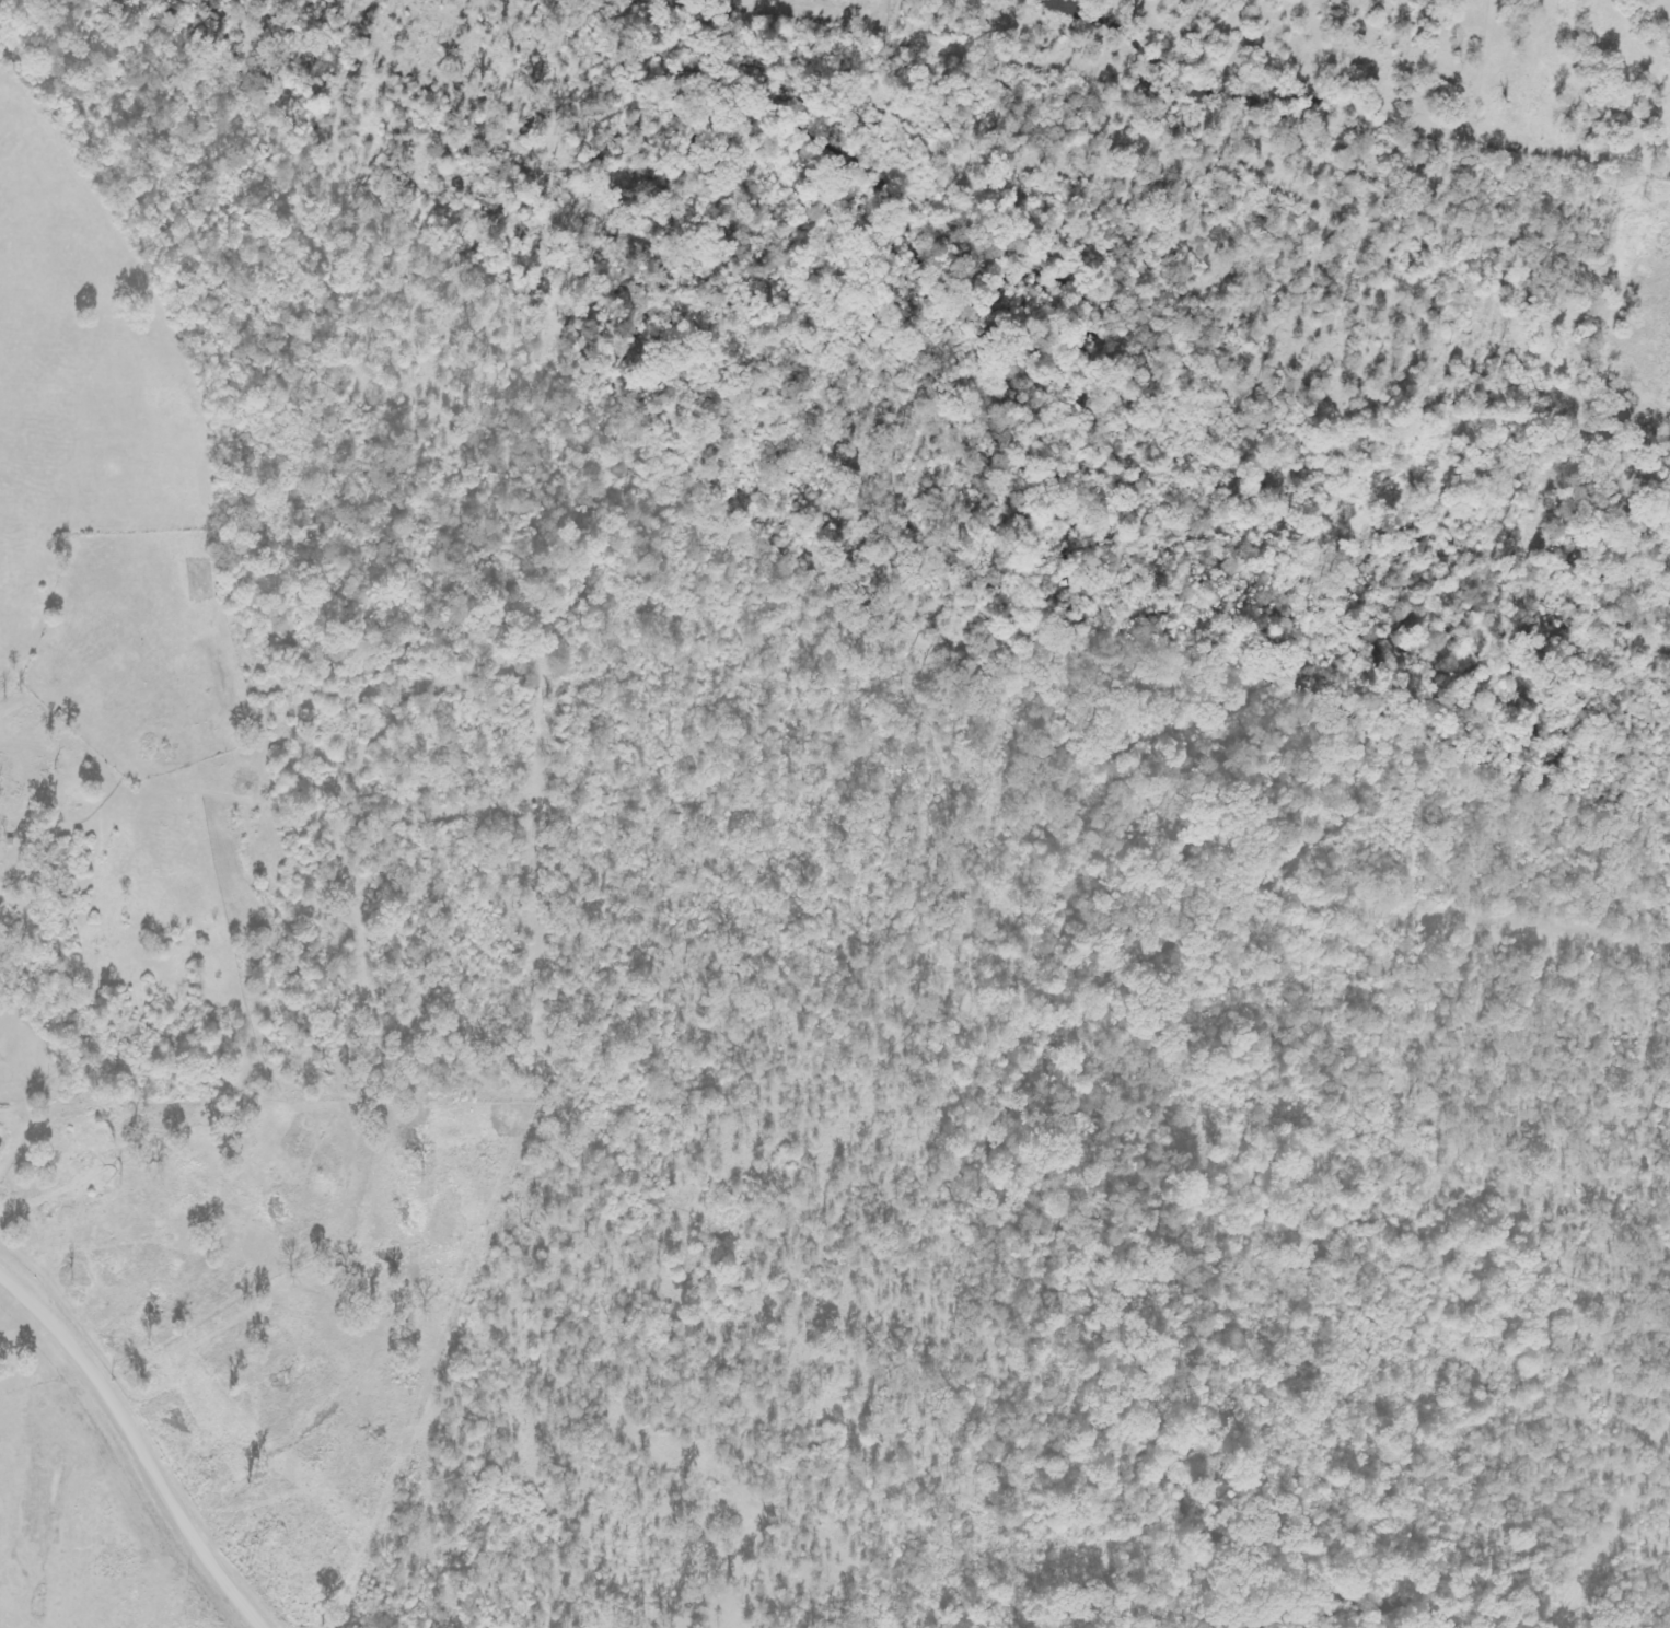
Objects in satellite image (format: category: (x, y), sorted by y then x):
road: (139, 1444)

